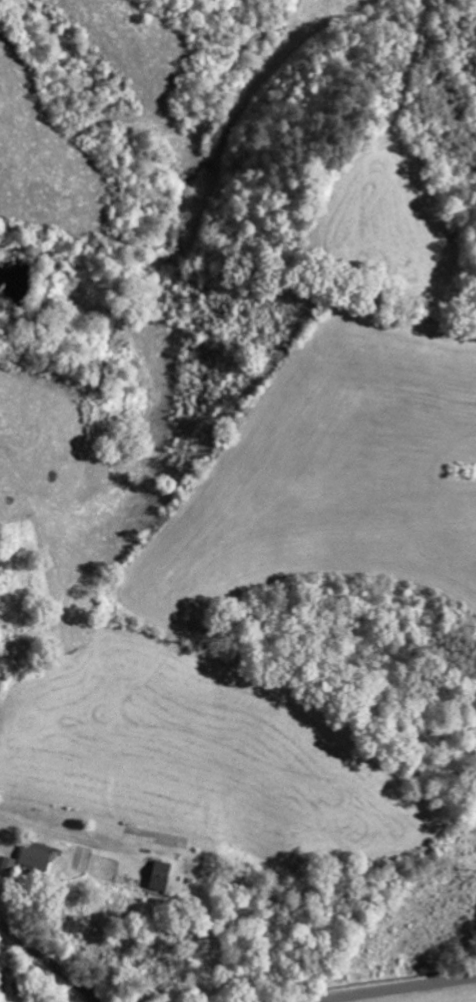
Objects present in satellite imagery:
building: (33, 854)
power tower: (473, 873)
building: (156, 874)
road: (48, 963)
road: (391, 988)

